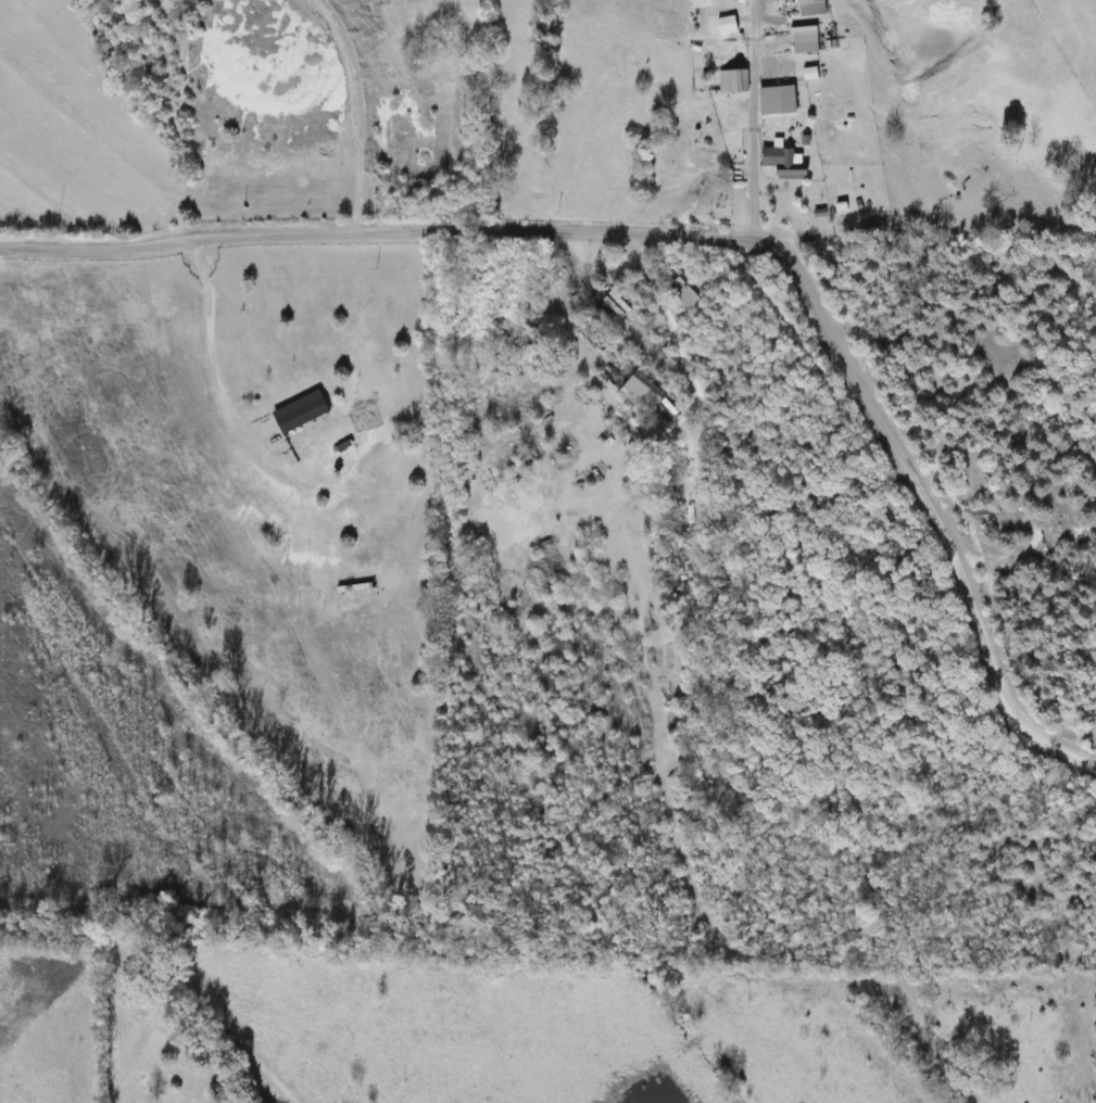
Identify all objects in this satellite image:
building: (812, 8)
building: (730, 25)
building: (807, 43)
building: (781, 76)
building: (734, 81)
road: (358, 112)
road: (754, 145)
building: (786, 163)
road: (703, 238)
building: (684, 294)
road: (675, 330)
road: (213, 362)
building: (644, 393)
building: (303, 413)
building: (358, 591)
road: (43, 934)
park: (156, 1038)

